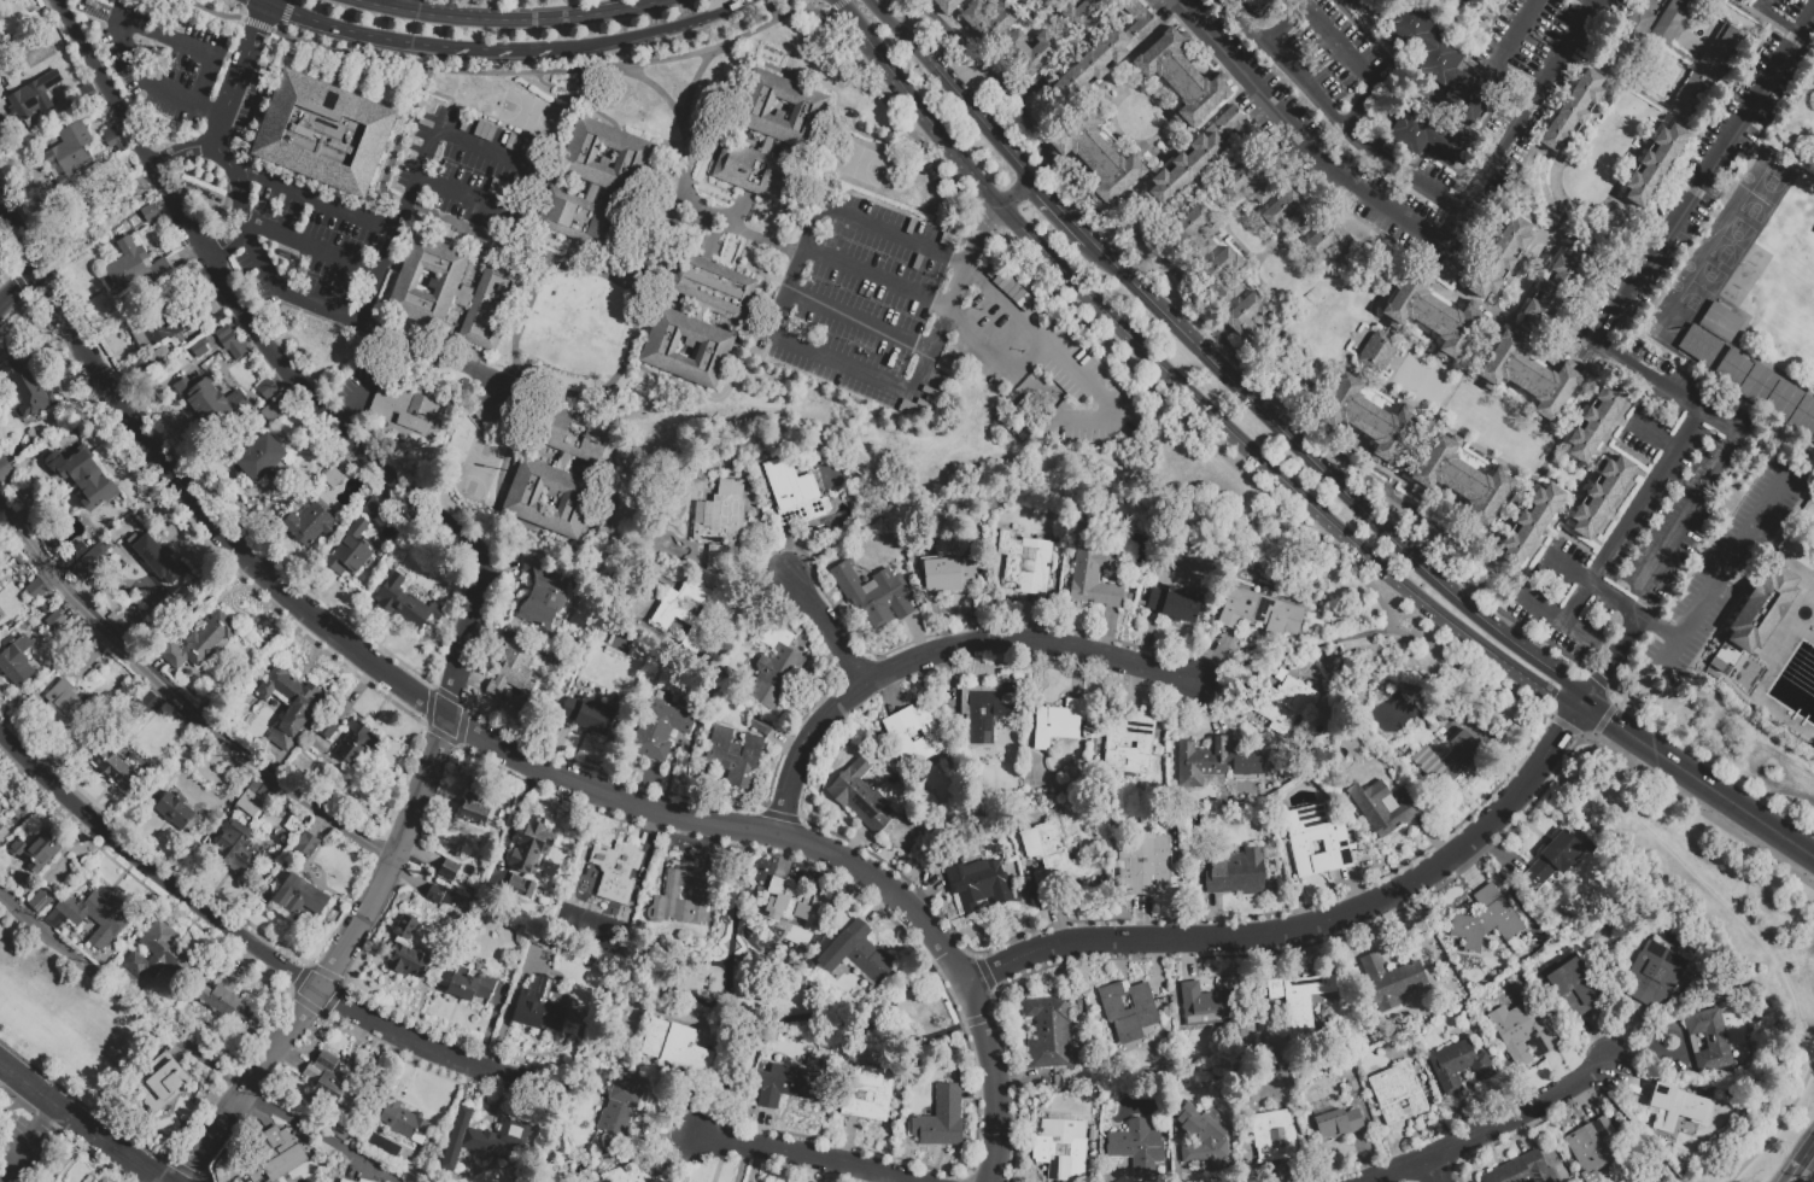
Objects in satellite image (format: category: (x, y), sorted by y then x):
building: (1465, 1)
road: (837, 2)
building: (1651, 2)
road: (843, 4)
road: (402, 5)
building: (946, 5)
road: (1588, 5)
building: (1262, 6)
road: (728, 7)
road: (211, 10)
road: (770, 10)
road: (285, 11)
road: (827, 12)
building: (1081, 12)
road: (1754, 12)
road: (1113, 13)
road: (1714, 13)
road: (883, 16)
road: (510, 18)
building: (987, 18)
building: (1674, 19)
road: (1775, 19)
road: (256, 23)
road: (119, 24)
road: (1807, 25)
road: (280, 28)
road: (357, 31)
road: (1785, 31)
fountain: (1698, 33)
building: (1628, 37)
road: (613, 39)
road: (1698, 41)
building: (2, 43)
road: (1081, 45)
road: (1645, 46)
road: (482, 47)
building: (1028, 48)
road: (1339, 48)
building: (1105, 51)
road: (1504, 57)
parking lot: (164, 58)
road: (1594, 66)
building: (1707, 70)
road: (1051, 71)
building: (1178, 76)
building: (1450, 77)
road: (1738, 78)
road: (1614, 84)
road: (657, 87)
building: (88, 95)
road: (1642, 95)
building: (35, 96)
road: (1165, 106)
road: (962, 107)
building: (1572, 111)
park: (531, 115)
road: (1660, 117)
road: (1332, 118)
road: (1684, 122)
road: (1253, 123)
road: (1523, 124)
road: (686, 125)
building: (322, 130)
building: (773, 134)
road: (1299, 134)
road: (212, 136)
parking lot: (1303, 137)
road: (458, 139)
building: (113, 140)
road: (177, 150)
building: (69, 154)
building: (1198, 154)
building: (1093, 156)
road: (1545, 156)
park: (858, 163)
building: (1655, 163)
building: (596, 168)
building: (1247, 183)
building: (137, 187)
road: (1699, 188)
road: (964, 194)
road: (1013, 195)
road: (312, 199)
road: (1569, 203)
road: (1622, 206)
road: (1092, 207)
building: (1288, 212)
building: (151, 213)
road: (1054, 216)
road: (1560, 221)
road: (1654, 226)
road: (1227, 227)
road: (748, 229)
building: (1194, 232)
road: (1546, 236)
parking lot: (315, 239)
building: (1330, 244)
road: (309, 246)
road: (1393, 252)
building: (1499, 258)
road: (1260, 259)
road: (1414, 259)
parking lot: (868, 267)
road: (1516, 267)
building: (1450, 268)
building: (134, 269)
road: (1300, 271)
road: (978, 275)
building: (1221, 275)
road: (621, 276)
road: (222, 282)
road: (1531, 282)
road: (16, 285)
building: (456, 287)
building: (1551, 291)
road: (285, 293)
road: (952, 298)
road: (931, 305)
building: (1434, 316)
road: (519, 318)
building: (1247, 320)
building: (701, 321)
road: (860, 321)
building: (1719, 321)
road: (1493, 324)
building: (172, 328)
road: (778, 337)
building: (230, 343)
building: (1567, 344)
building: (1698, 344)
building: (199, 346)
building: (1375, 350)
road: (438, 357)
building: (1697, 364)
park: (1410, 371)
building: (1734, 373)
building: (1528, 375)
road: (1463, 376)
building: (29, 386)
park: (1433, 386)
building: (1759, 387)
road: (1186, 390)
building: (210, 402)
building: (1784, 403)
road: (1410, 404)
building: (412, 408)
parking lot: (1677, 414)
building: (1367, 417)
building: (1596, 421)
building: (1804, 421)
road: (1656, 438)
building: (261, 458)
building: (562, 472)
building: (6, 474)
building: (84, 479)
building: (332, 479)
building: (1463, 480)
road: (1326, 482)
road: (1380, 488)
road: (1703, 490)
building: (795, 495)
building: (1602, 496)
building: (375, 511)
building: (765, 511)
road: (1634, 513)
building: (719, 523)
building: (1531, 523)
building: (34, 528)
building: (312, 528)
road: (1490, 550)
building: (352, 551)
building: (148, 556)
building: (72, 557)
building: (17, 558)
building: (90, 562)
building: (1026, 564)
road: (1721, 572)
building: (948, 574)
building: (1094, 579)
road: (1587, 585)
park: (88, 587)
building: (36, 590)
building: (544, 593)
building: (872, 593)
building: (111, 601)
building: (408, 605)
building: (1176, 605)
building: (1763, 612)
building: (687, 613)
building: (1259, 613)
road: (1556, 620)
building: (55, 622)
road: (827, 625)
road: (1658, 628)
building: (209, 639)
building: (1726, 645)
road: (938, 648)
road: (1294, 655)
building: (87, 659)
building: (16, 662)
building: (1719, 666)
building: (776, 669)
building: (514, 673)
building: (1283, 674)
road: (177, 700)
building: (144, 702)
building: (1282, 704)
building: (68, 708)
building: (300, 710)
building: (987, 712)
building: (590, 716)
building: (759, 724)
building: (661, 725)
road: (1568, 727)
building: (1057, 728)
building: (326, 730)
building: (915, 737)
building: (195, 744)
building: (1129, 744)
building: (357, 745)
road: (502, 745)
building: (735, 756)
building: (1447, 761)
building: (1202, 762)
building: (116, 770)
road: (1699, 778)
building: (860, 796)
building: (1, 801)
building: (252, 803)
building: (1383, 809)
building: (474, 811)
road: (1699, 812)
building: (177, 813)
road: (513, 815)
building: (1, 831)
building: (1318, 842)
building: (306, 847)
building: (532, 847)
building: (239, 850)
building: (36, 853)
building: (1054, 861)
building: (1553, 861)
road: (387, 865)
building: (1145, 865)
building: (616, 871)
building: (449, 872)
building: (1237, 874)
building: (975, 883)
building: (521, 886)
road: (1709, 888)
building: (302, 897)
building: (439, 897)
building: (683, 897)
building: (40, 902)
building: (1468, 905)
building: (788, 907)
building: (90, 918)
building: (1486, 921)
road: (1316, 925)
road: (739, 934)
road: (239, 935)
building: (539, 938)
building: (405, 953)
building: (862, 954)
building: (160, 955)
building: (1654, 976)
building: (1391, 981)
building: (470, 987)
building: (1574, 987)
road: (914, 990)
road: (121, 991)
building: (226, 1001)
building: (1299, 1001)
building: (539, 1008)
building: (1129, 1011)
building: (1215, 1011)
road: (806, 1013)
building: (1557, 1028)
building: (1048, 1034)
building: (1525, 1034)
building: (1564, 1036)
building: (1709, 1042)
building: (677, 1048)
building: (1459, 1067)
building: (162, 1084)
building: (786, 1084)
building: (329, 1089)
building: (1398, 1094)
building: (868, 1095)
building: (1677, 1110)
building: (620, 1111)
building: (941, 1119)
building: (403, 1122)
road: (81, 1125)
building: (1338, 1125)
building: (1617, 1127)
road: (1779, 1127)
road: (1643, 1129)
road: (1491, 1130)
road: (318, 1137)
building: (1274, 1137)
building: (1204, 1139)
road: (27, 1141)
building: (481, 1142)
building: (1594, 1148)
building: (613, 1149)
building: (1137, 1149)
building: (1061, 1151)
road: (801, 1153)
building: (277, 1157)
road: (1803, 1165)
road: (1438, 1170)
building: (1522, 1171)
building: (628, 1174)
building: (341, 1181)
building: (361, 1181)

